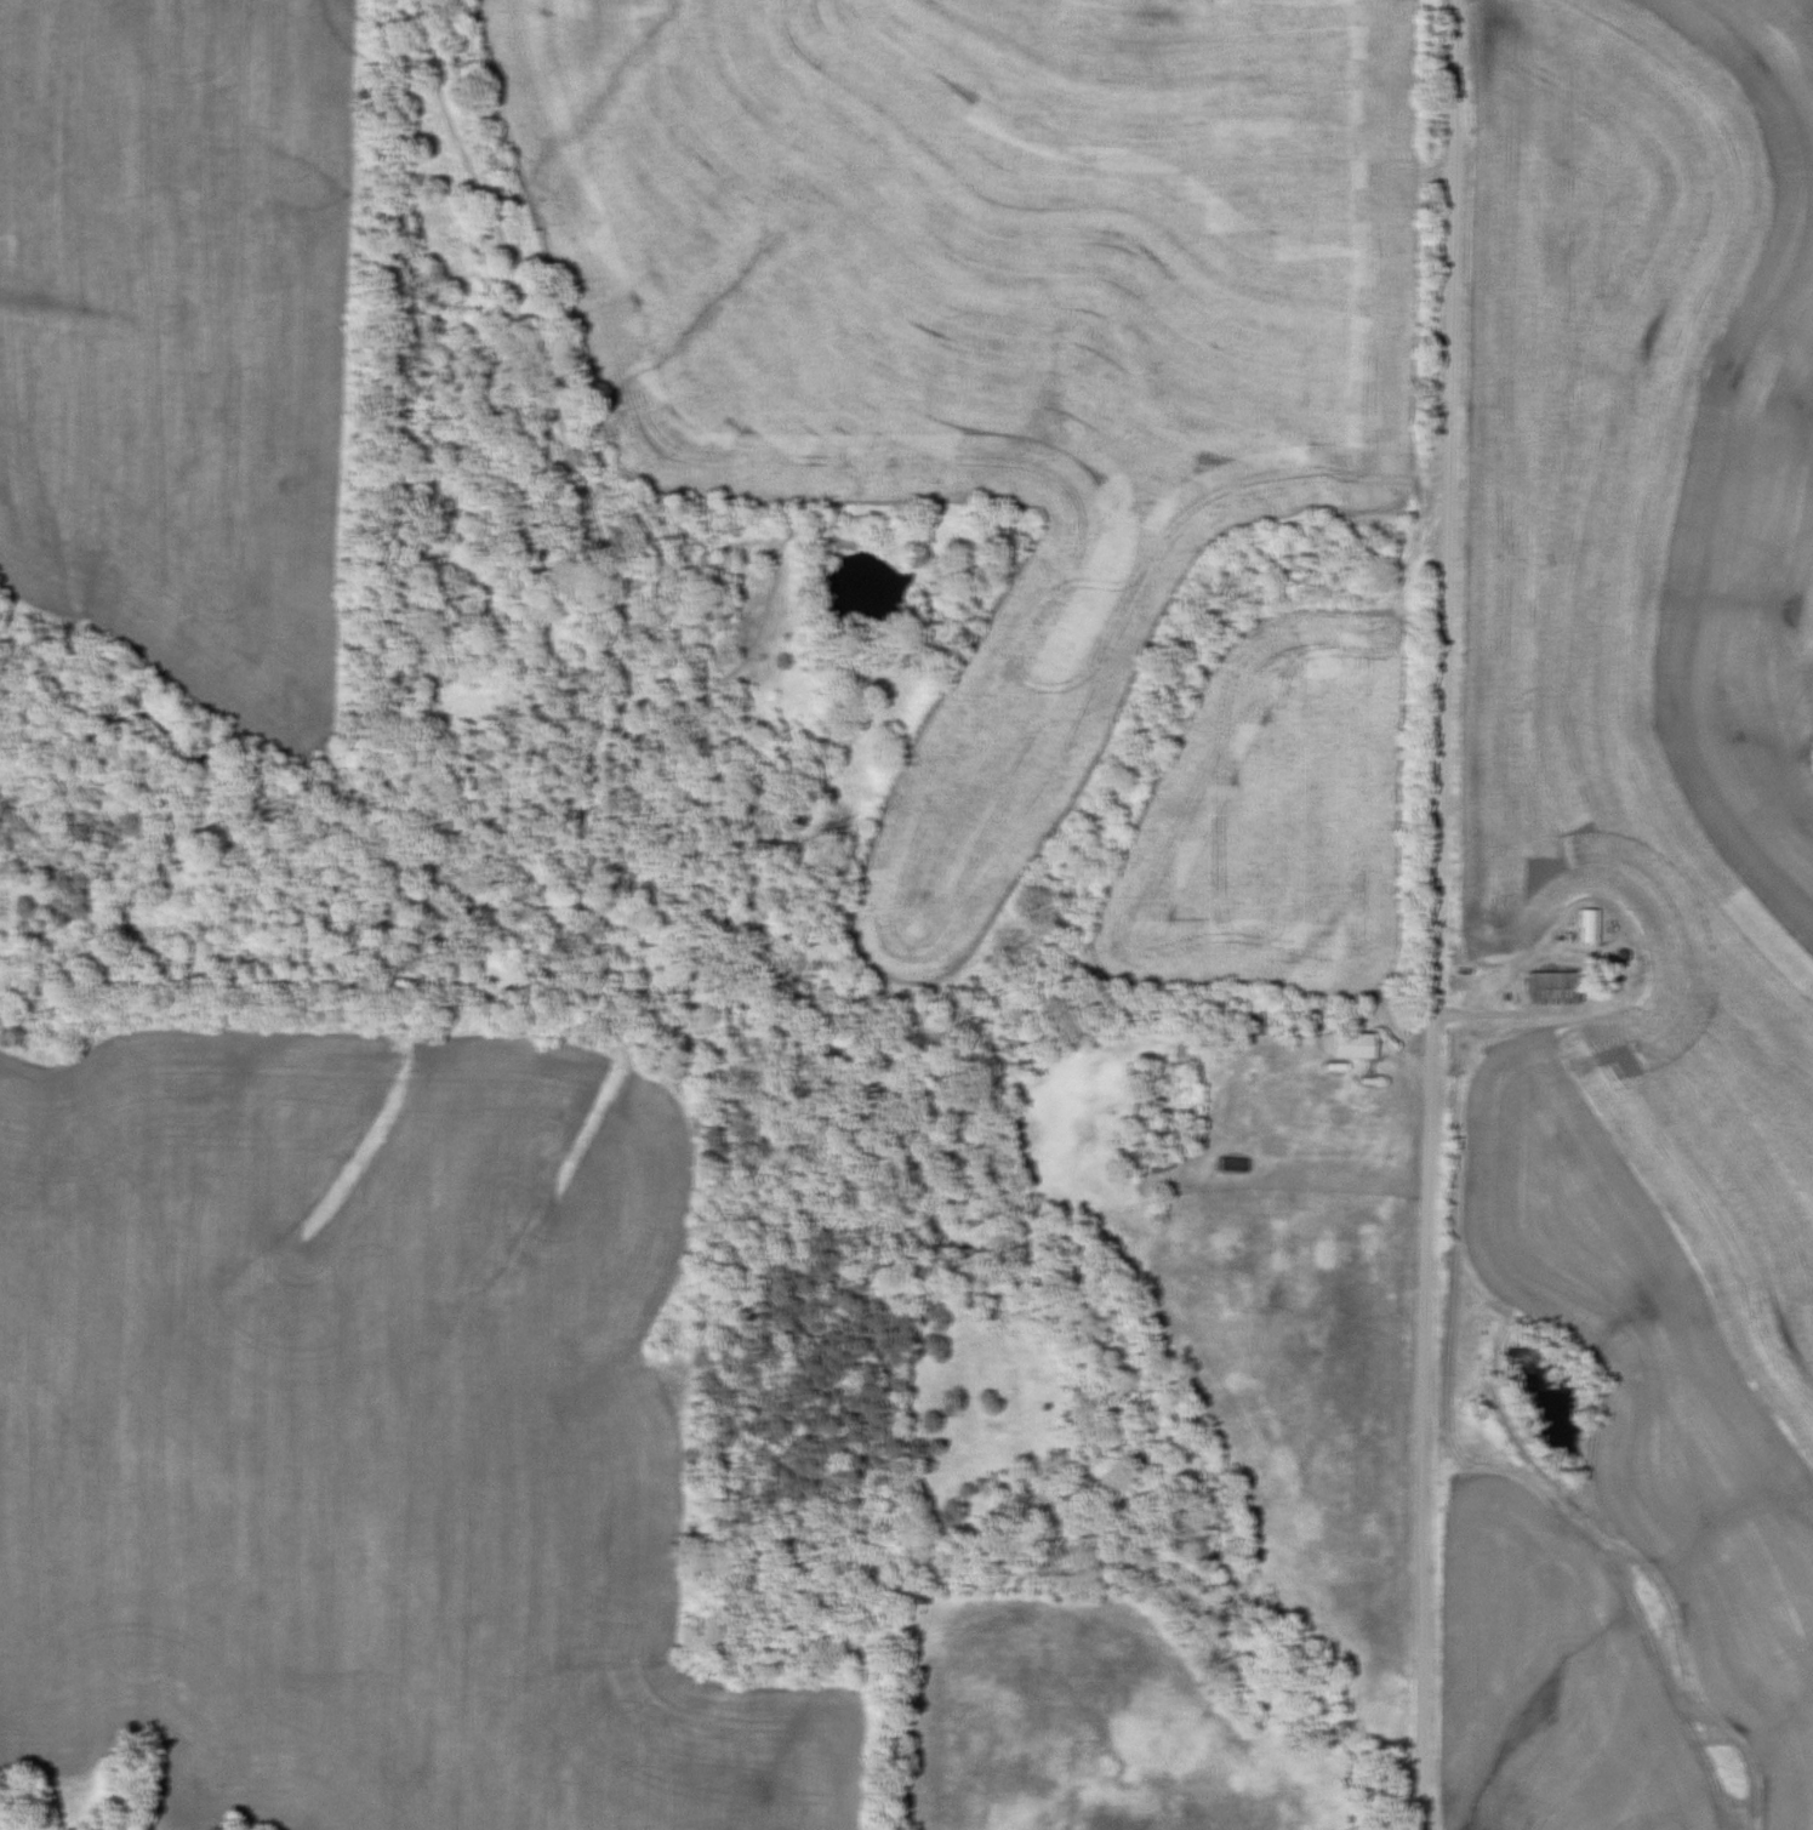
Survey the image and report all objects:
road: (1438, 914)
building: (1552, 988)
road: (1522, 1014)
building: (1231, 1165)

